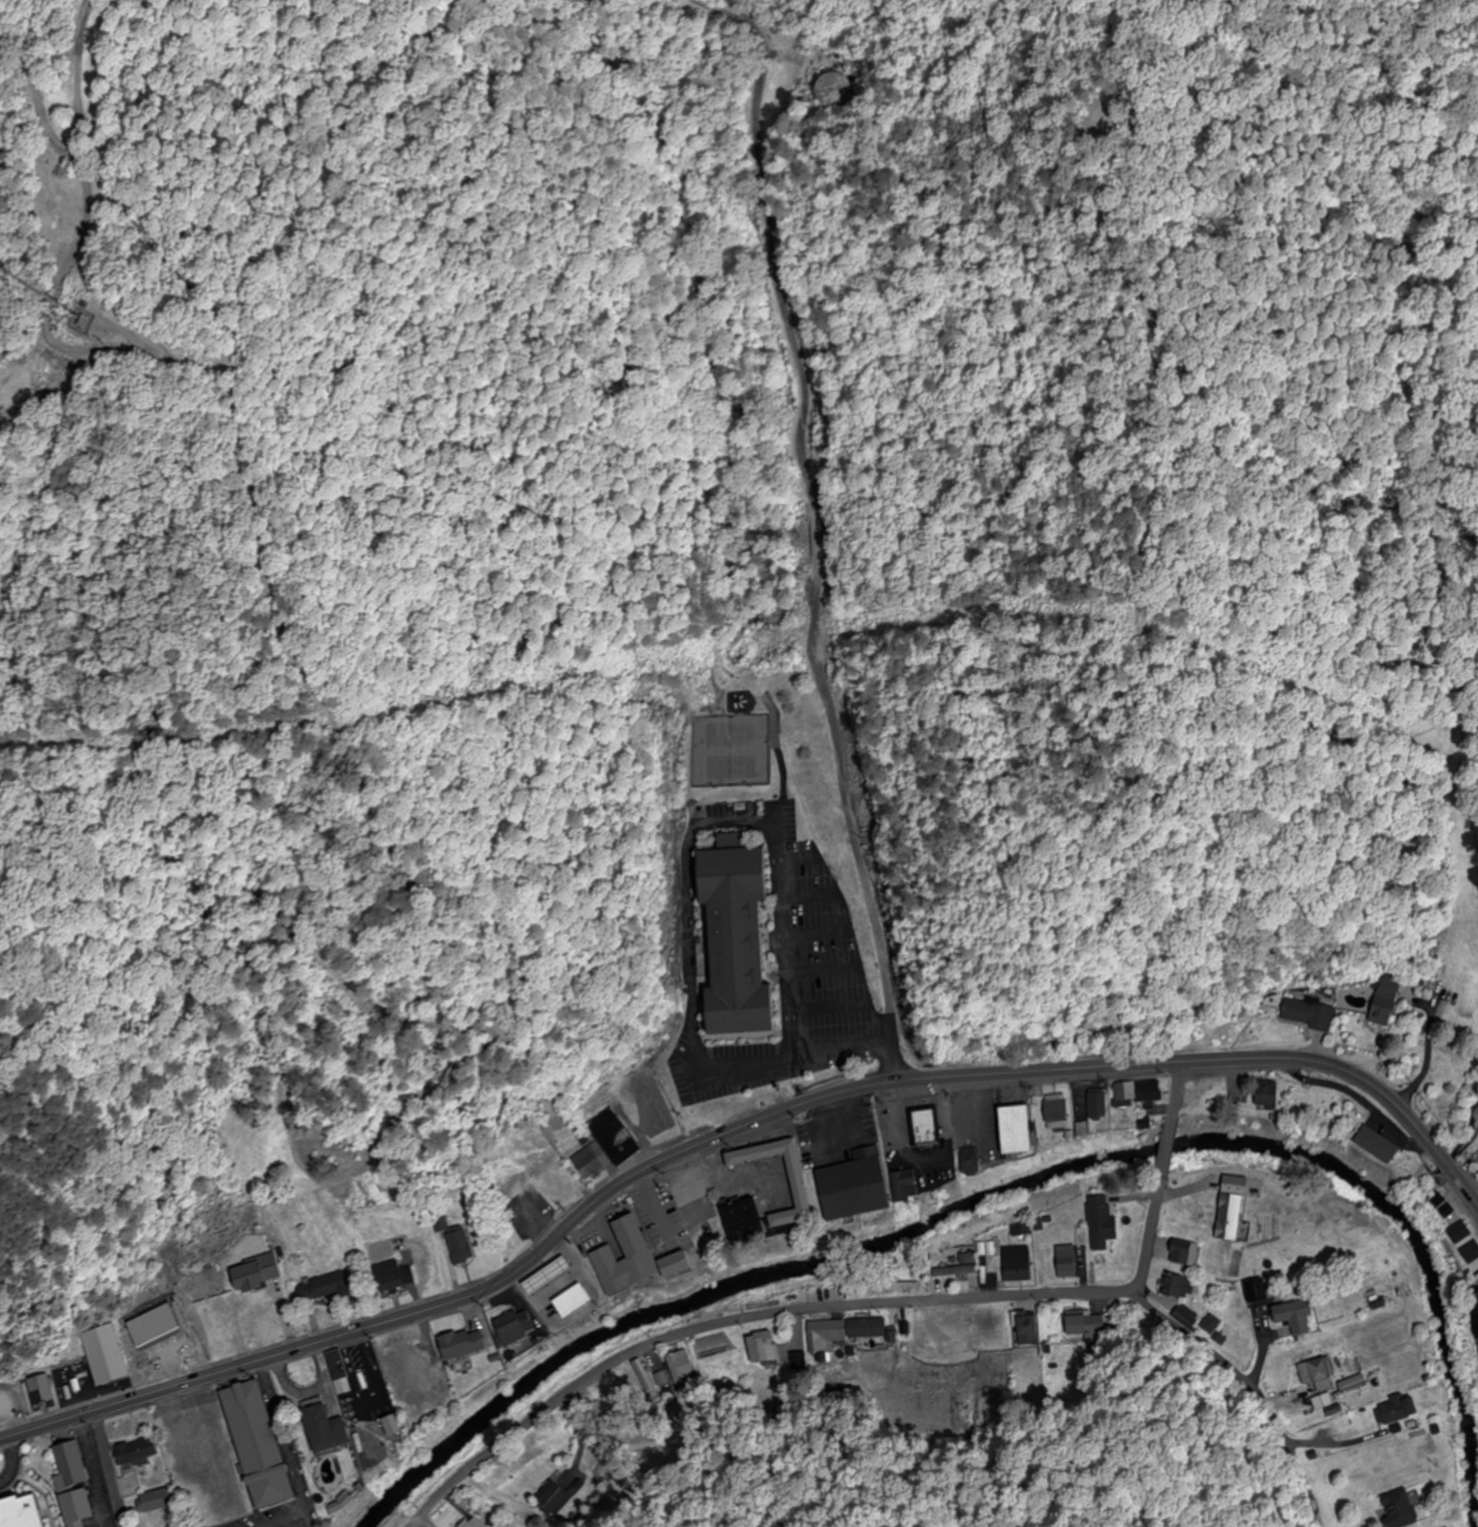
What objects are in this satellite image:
building: (833, 89)
road: (83, 234)
road: (814, 536)
road: (765, 707)
park: (729, 751)
road: (728, 824)
road: (799, 861)
road: (811, 898)
building: (740, 933)
road: (820, 938)
road: (826, 975)
building: (1387, 999)
road: (831, 1011)
building: (1308, 1014)
building: (1139, 1091)
building: (1270, 1093)
building: (1099, 1105)
building: (1059, 1112)
building: (926, 1127)
road: (736, 1129)
building: (1022, 1130)
building: (618, 1137)
building: (1380, 1145)
building: (591, 1160)
building: (973, 1162)
road: (1164, 1176)
building: (563, 1180)
building: (804, 1187)
building: (909, 1187)
building: (1233, 1208)
building: (748, 1219)
building: (1103, 1224)
building: (1460, 1232)
building: (460, 1247)
building: (1185, 1253)
building: (1471, 1253)
building: (628, 1257)
building: (1068, 1262)
building: (680, 1264)
building: (1018, 1264)
building: (955, 1271)
building: (259, 1273)
building: (393, 1276)
building: (1177, 1286)
building: (325, 1289)
building: (553, 1297)
building: (1296, 1316)
building: (1186, 1318)
road: (743, 1321)
building: (1476, 1325)
building: (1085, 1327)
building: (875, 1328)
building: (514, 1330)
building: (932, 1330)
building: (1029, 1330)
building: (450, 1333)
building: (995, 1333)
building: (827, 1337)
building: (763, 1348)
building: (114, 1354)
building: (496, 1362)
building: (405, 1363)
building: (338, 1365)
building: (681, 1369)
building: (1328, 1377)
road: (1249, 1389)
building: (43, 1393)
building: (1324, 1401)
building: (452, 1403)
building: (1400, 1410)
building: (396, 1426)
building: (327, 1429)
building: (262, 1445)
building: (140, 1456)
road: (108, 1468)
building: (76, 1485)
building: (556, 1499)
building: (159, 1500)
building: (1401, 1510)
building: (26, 1513)
road: (430, 1521)
building: (473, 1523)
road: (305, 1524)

